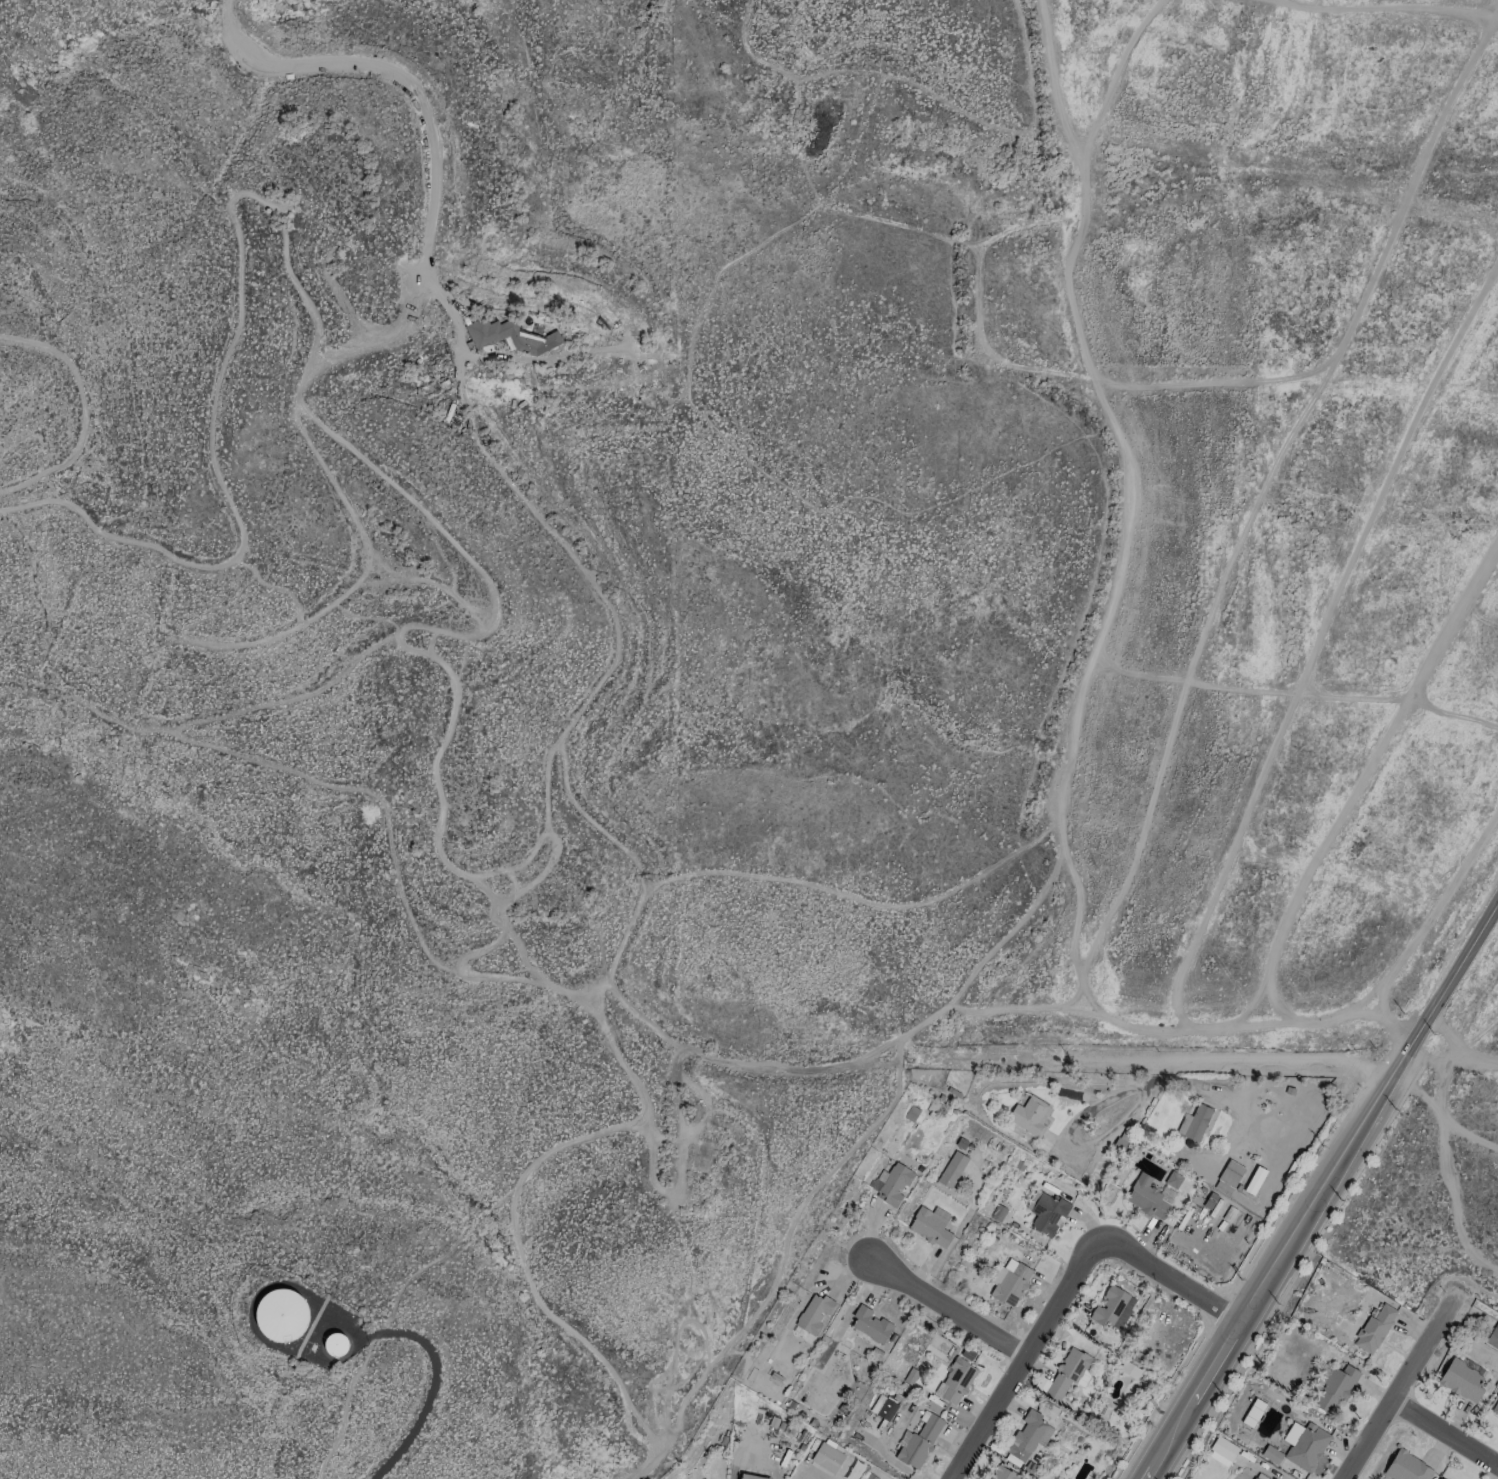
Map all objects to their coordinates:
road: (457, 330)
building: (509, 336)
road: (1233, 1062)
building: (1029, 1115)
building: (1194, 1123)
road: (1083, 1146)
building: (952, 1169)
building: (1230, 1173)
building: (1254, 1180)
building: (893, 1184)
building: (1223, 1187)
road: (1327, 1194)
building: (1150, 1197)
building: (1045, 1212)
building: (931, 1226)
building: (1009, 1281)
road: (1065, 1284)
road: (948, 1304)
building: (1112, 1308)
building: (813, 1313)
building: (283, 1314)
storage tank: (283, 1314)
building: (869, 1324)
building: (1374, 1329)
building: (337, 1343)
storage tank: (337, 1343)
road: (434, 1368)
building: (1068, 1372)
building: (1461, 1380)
building: (957, 1381)
building: (1041, 1384)
building: (1334, 1390)
road: (1395, 1391)
building: (883, 1407)
building: (1495, 1408)
road: (1443, 1434)
building: (1028, 1436)
building: (919, 1442)
building: (1307, 1448)
building: (1222, 1451)
building: (827, 1458)
building: (1406, 1467)
building: (1003, 1474)
building: (869, 1476)
building: (1259, 1476)
building: (750, 1477)

